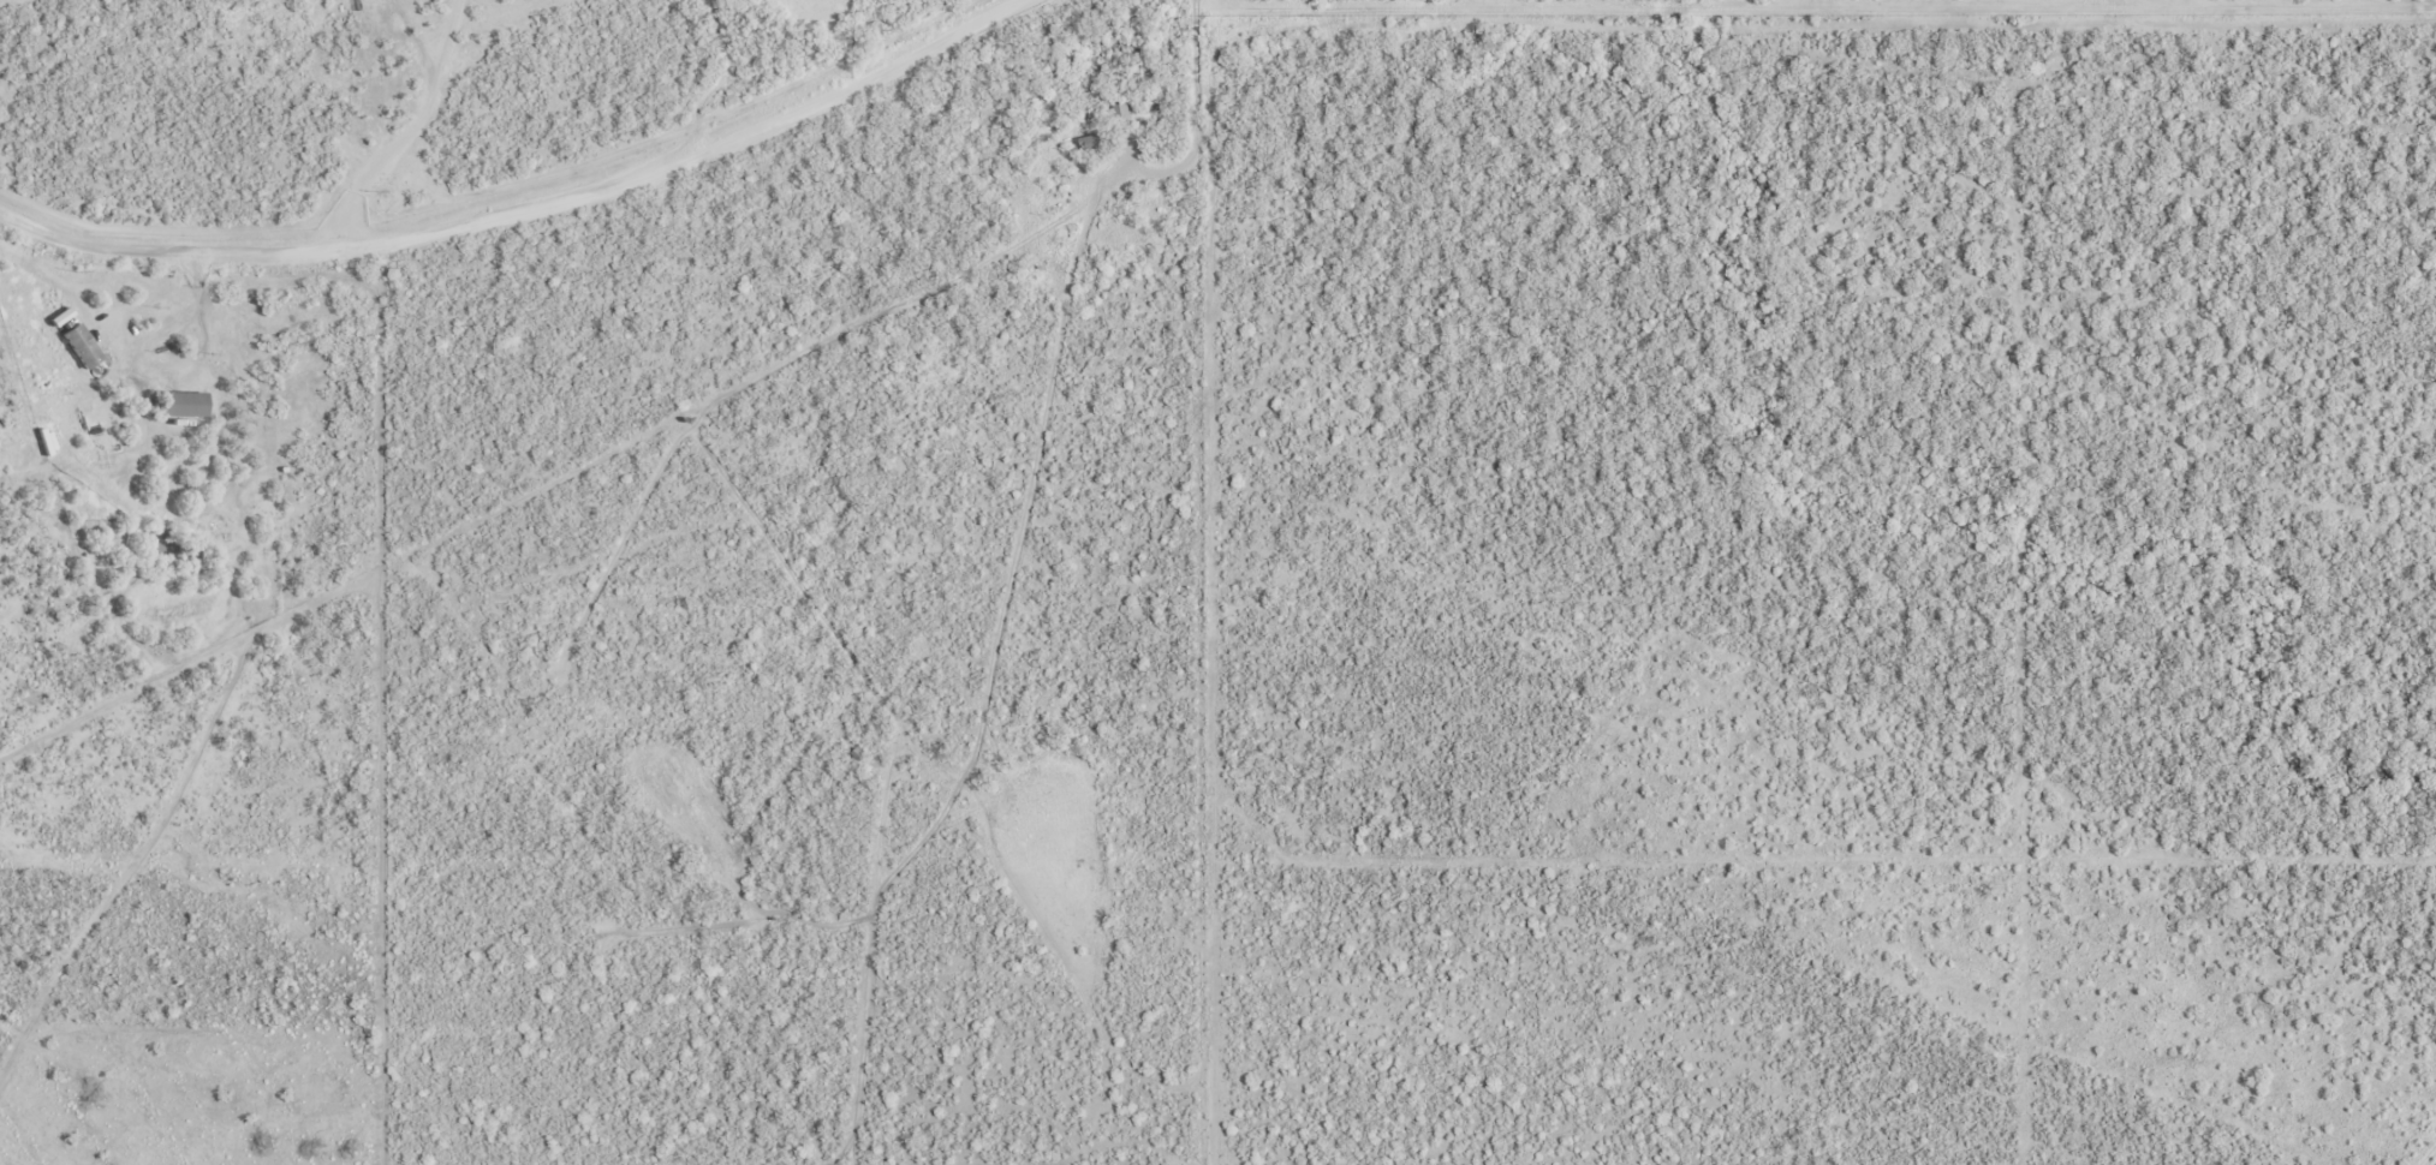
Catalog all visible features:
building: (1118, 109)
building: (1088, 142)
road: (530, 210)
building: (144, 352)
building: (185, 402)

